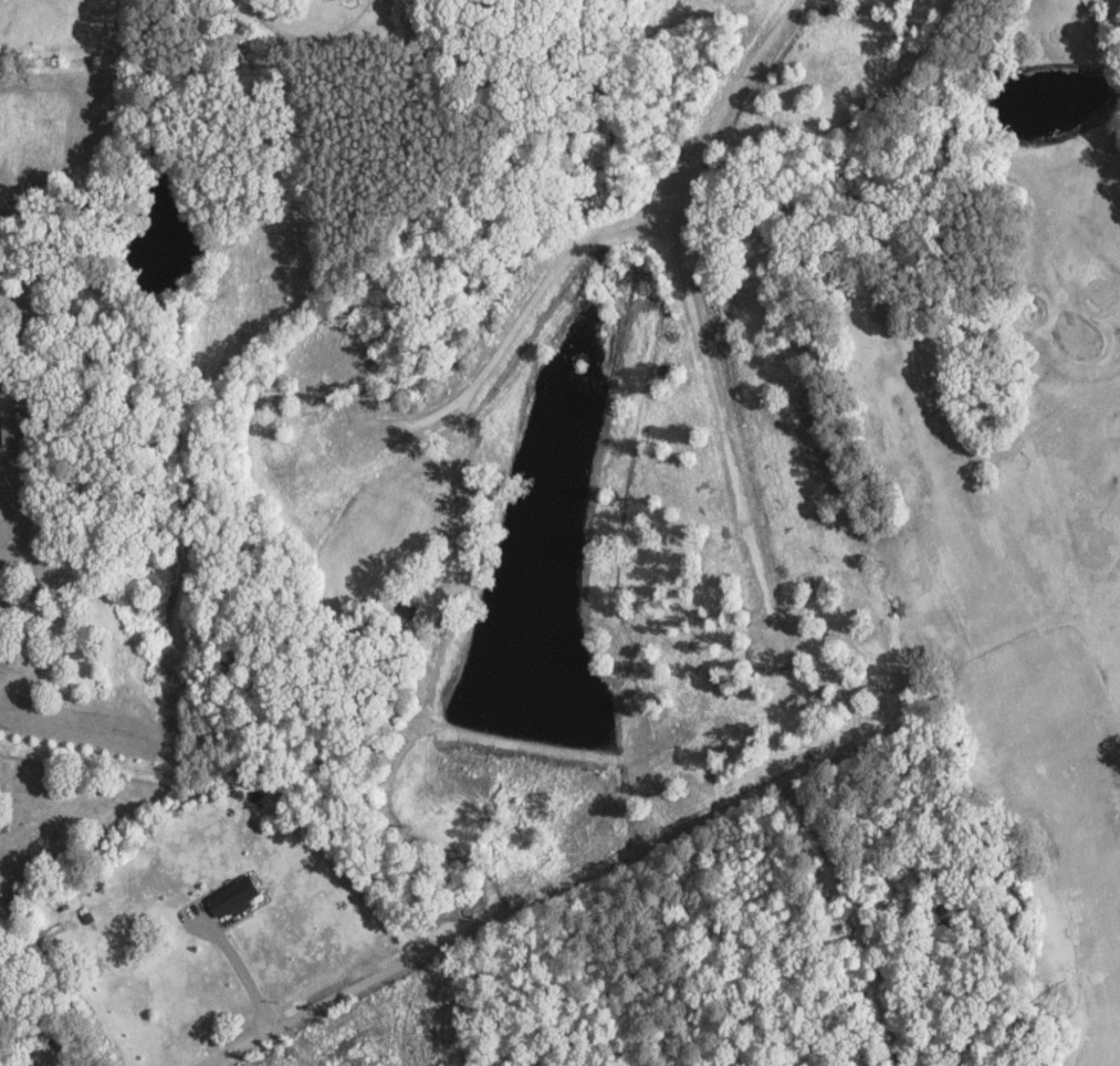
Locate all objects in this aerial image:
road: (737, 104)
road: (522, 332)
road: (721, 422)
building: (10, 429)
road: (562, 885)
building: (232, 890)
road: (238, 966)

